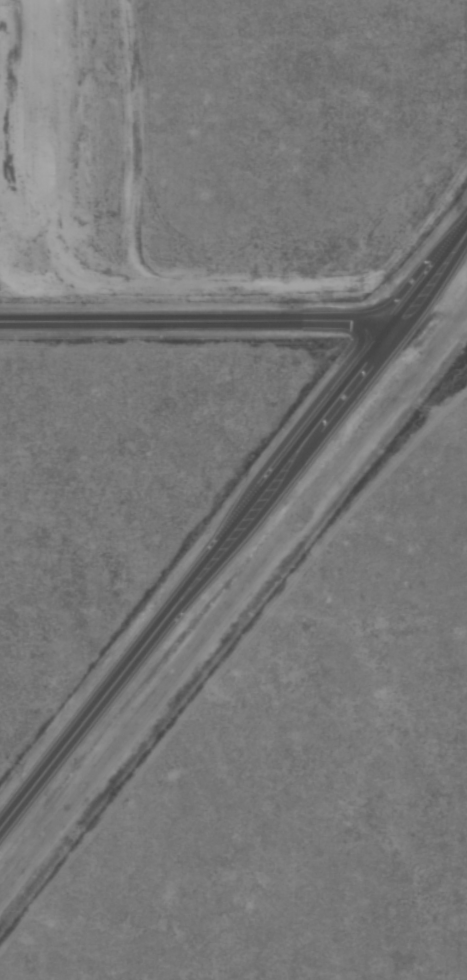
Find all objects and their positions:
airport: (224, 144)
road: (192, 317)
road: (237, 511)

